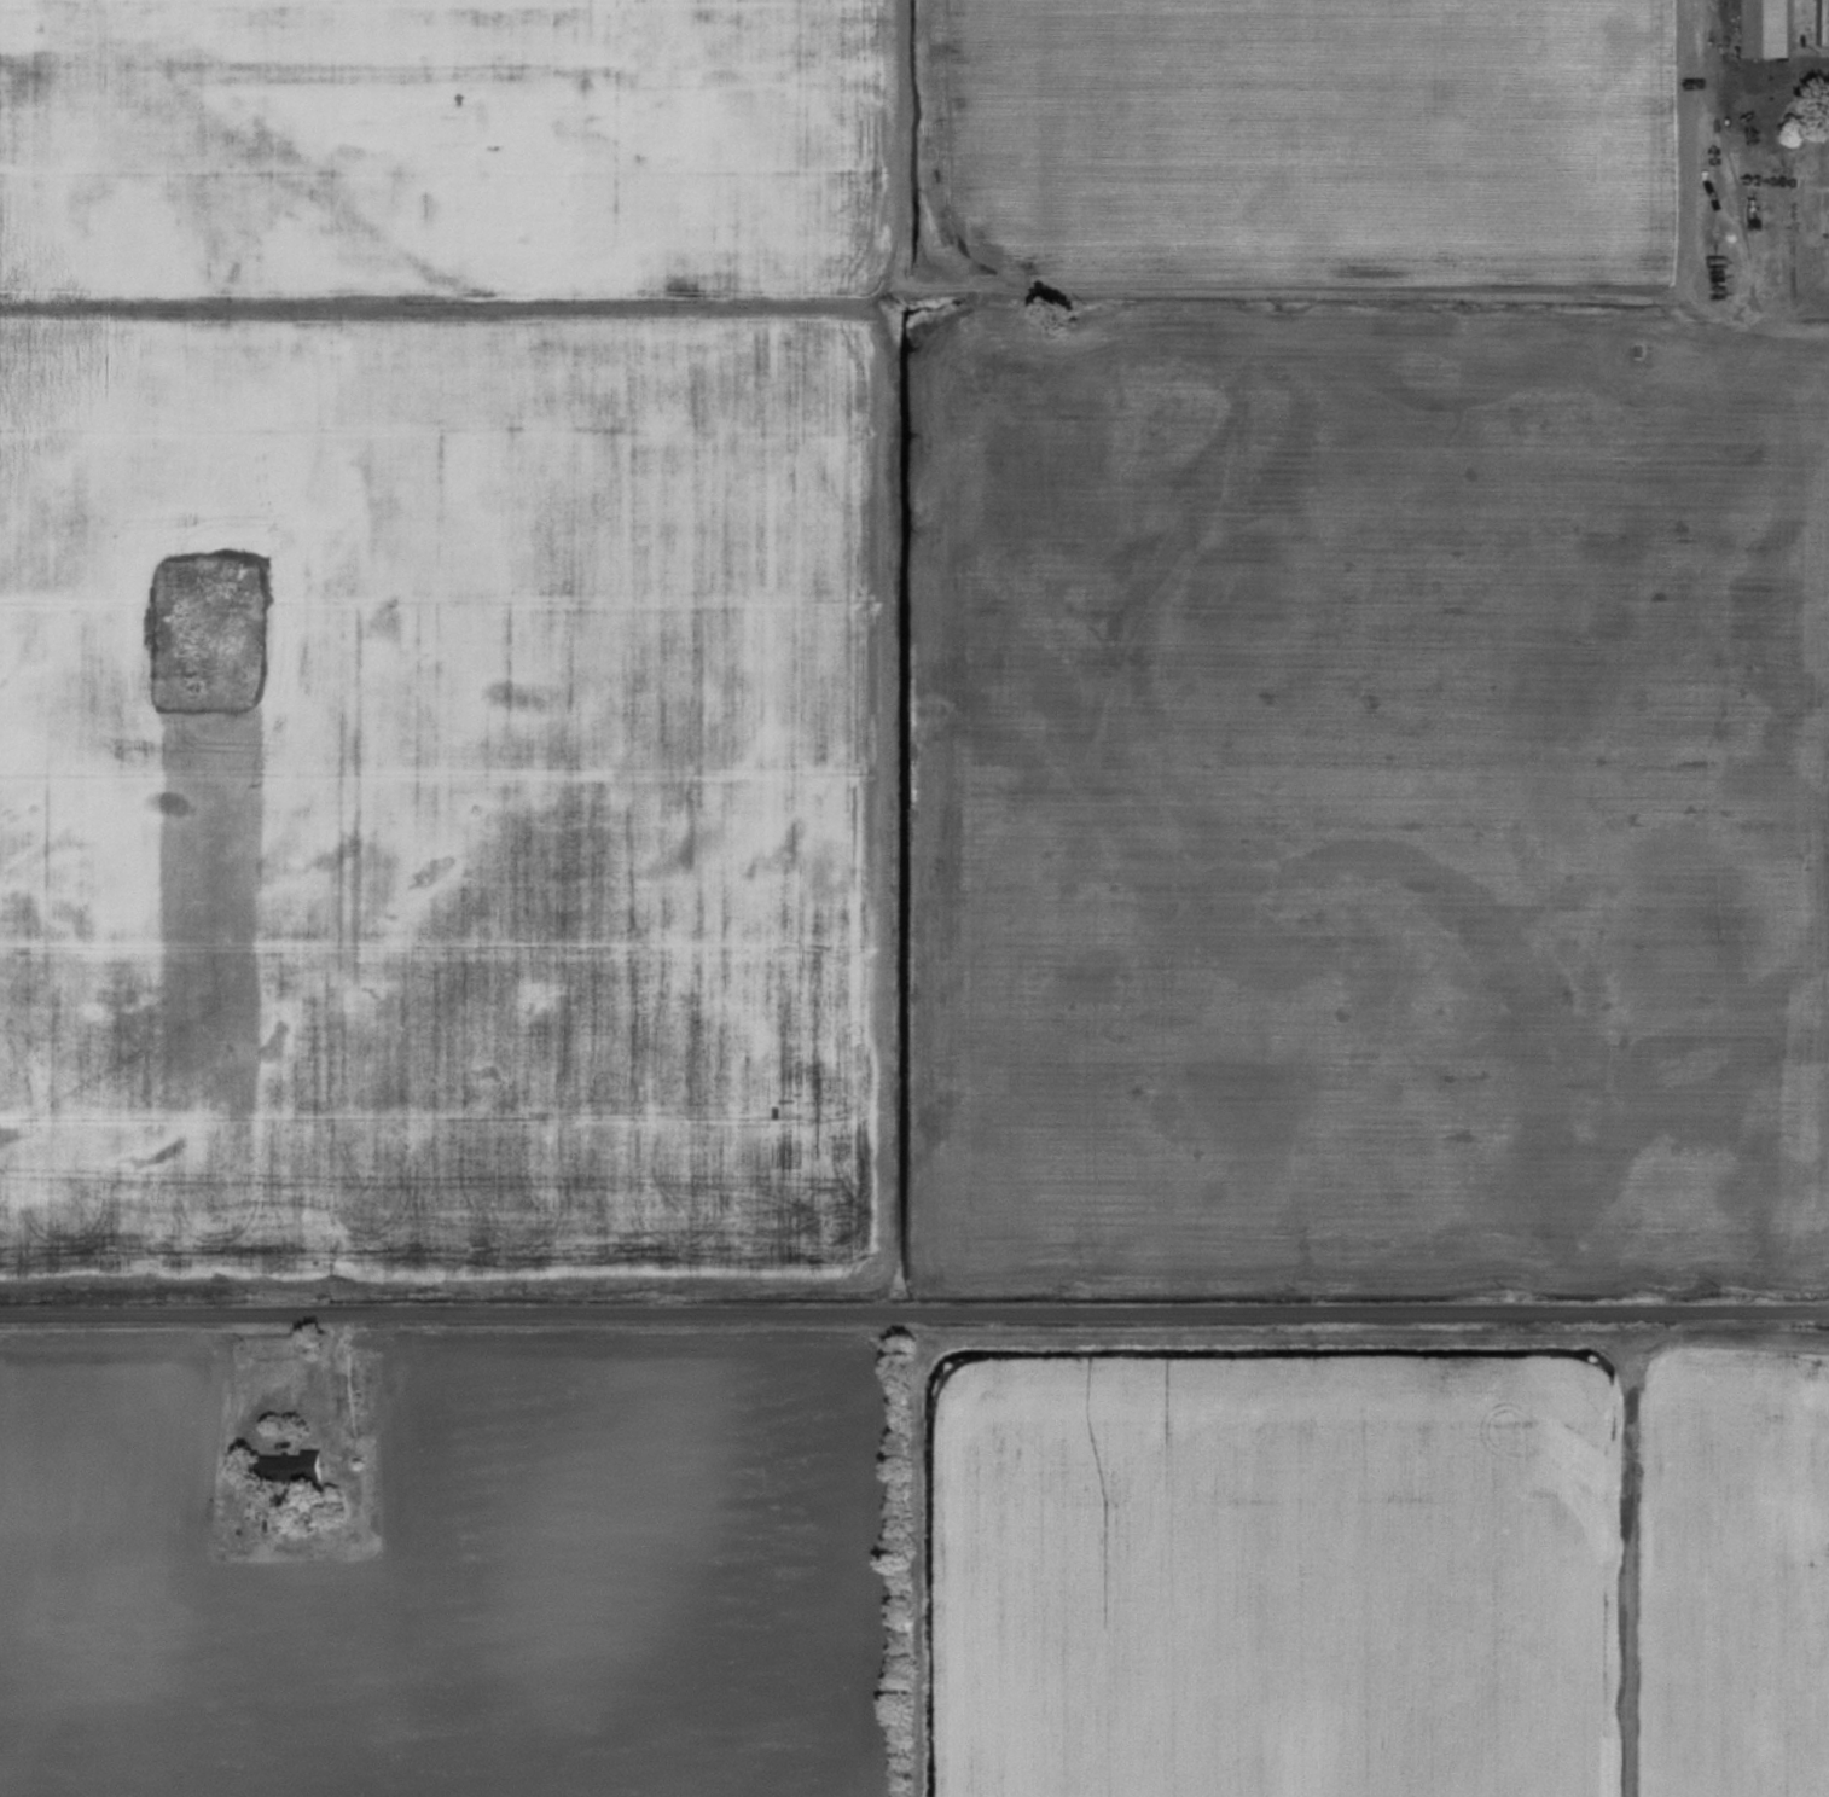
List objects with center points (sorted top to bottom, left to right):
building: (1824, 23)
building: (650, 24)
building: (1770, 28)
road: (318, 75)
building: (575, 112)
building: (454, 120)
road: (1294, 327)
park: (205, 630)
road: (914, 1310)
building: (294, 1462)

